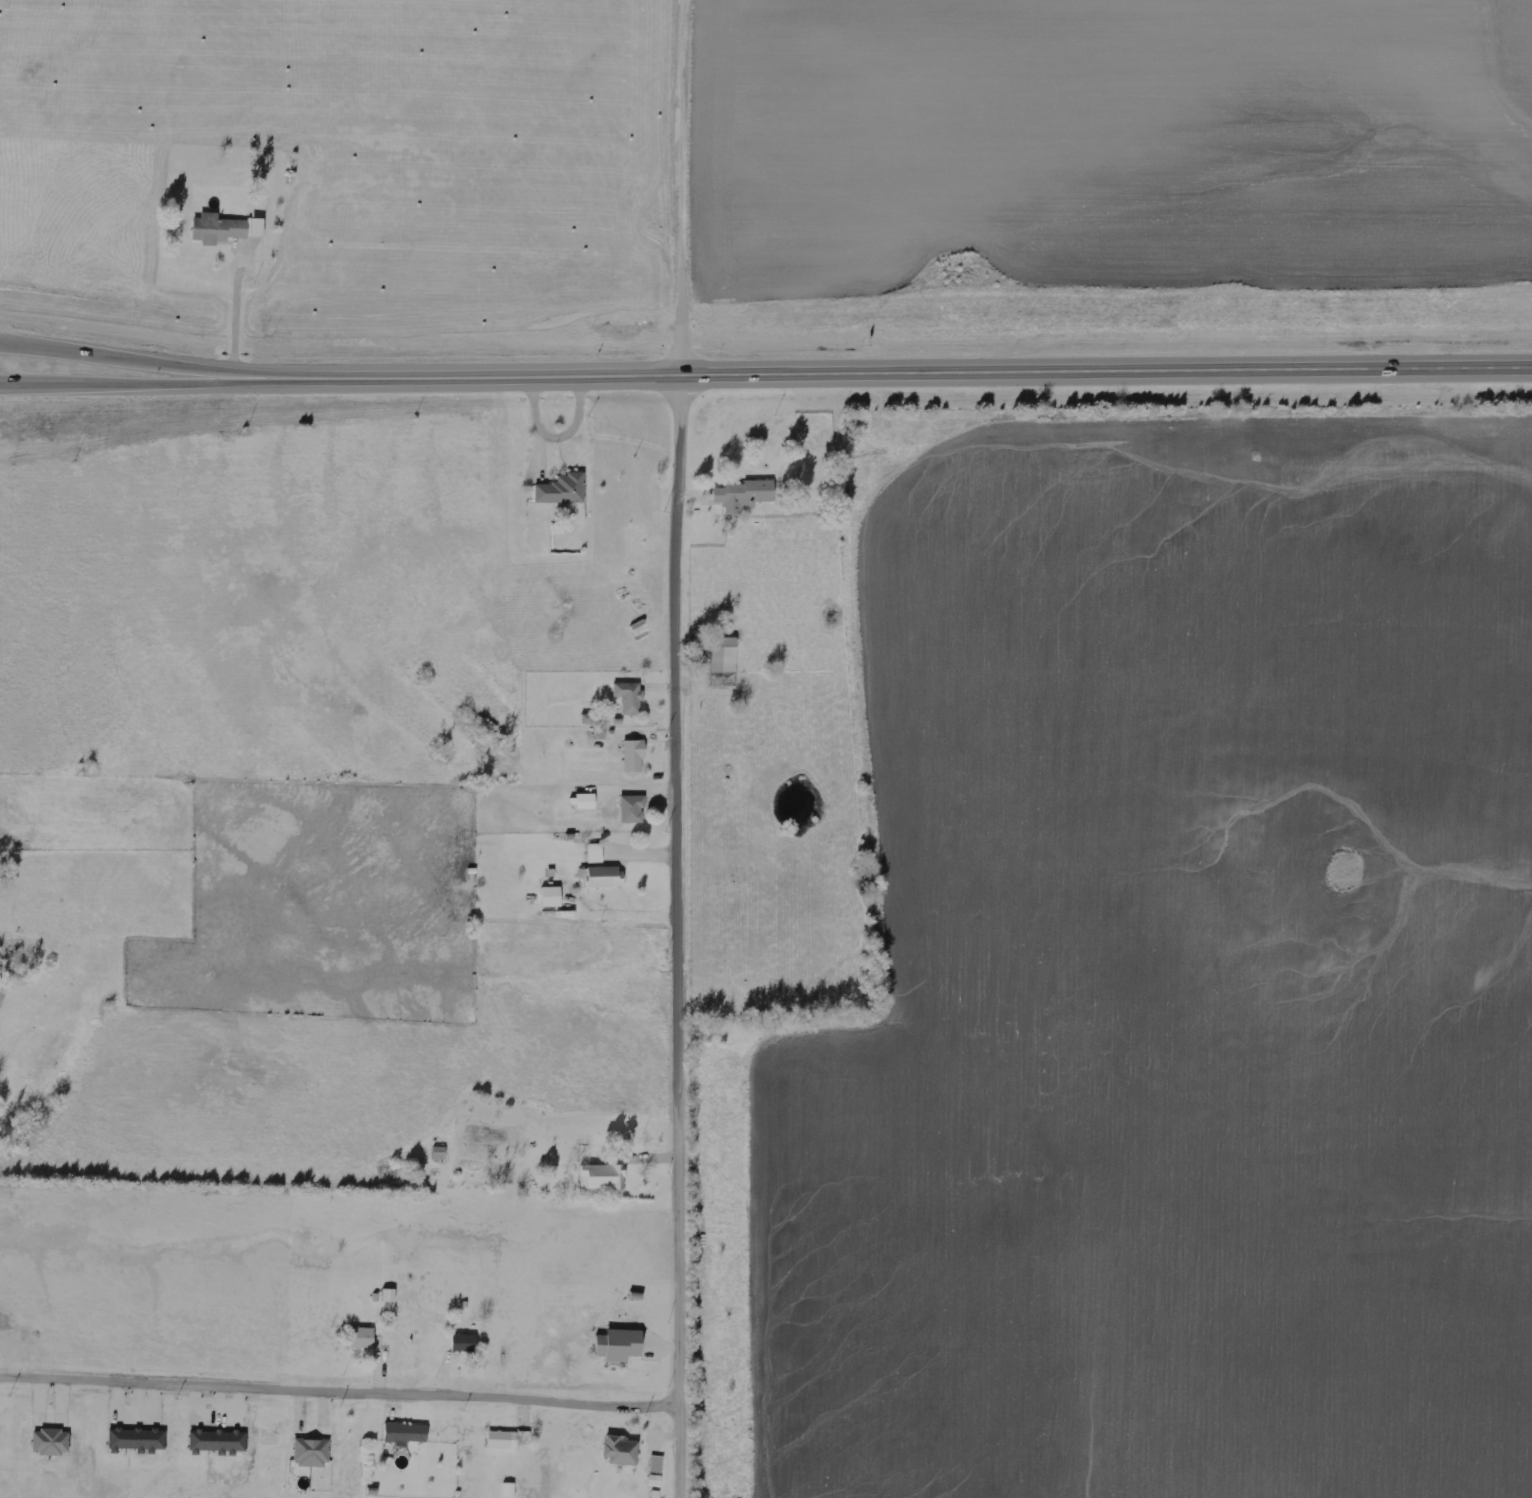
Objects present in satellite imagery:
road: (688, 186)
building: (225, 228)
road: (123, 362)
road: (888, 369)
road: (123, 381)
building: (563, 490)
building: (744, 495)
building: (724, 654)
building: (630, 696)
building: (634, 756)
building: (583, 801)
building: (632, 809)
building: (595, 853)
building: (602, 876)
building: (551, 896)
road: (686, 934)
building: (602, 1176)
building: (389, 1295)
building: (362, 1338)
building: (464, 1343)
building: (619, 1345)
road: (344, 1364)
building: (406, 1432)
building: (138, 1439)
building: (503, 1439)
building: (218, 1441)
building: (51, 1442)
building: (621, 1450)
building: (312, 1453)
building: (657, 1464)
building: (655, 1480)
building: (509, 1490)

